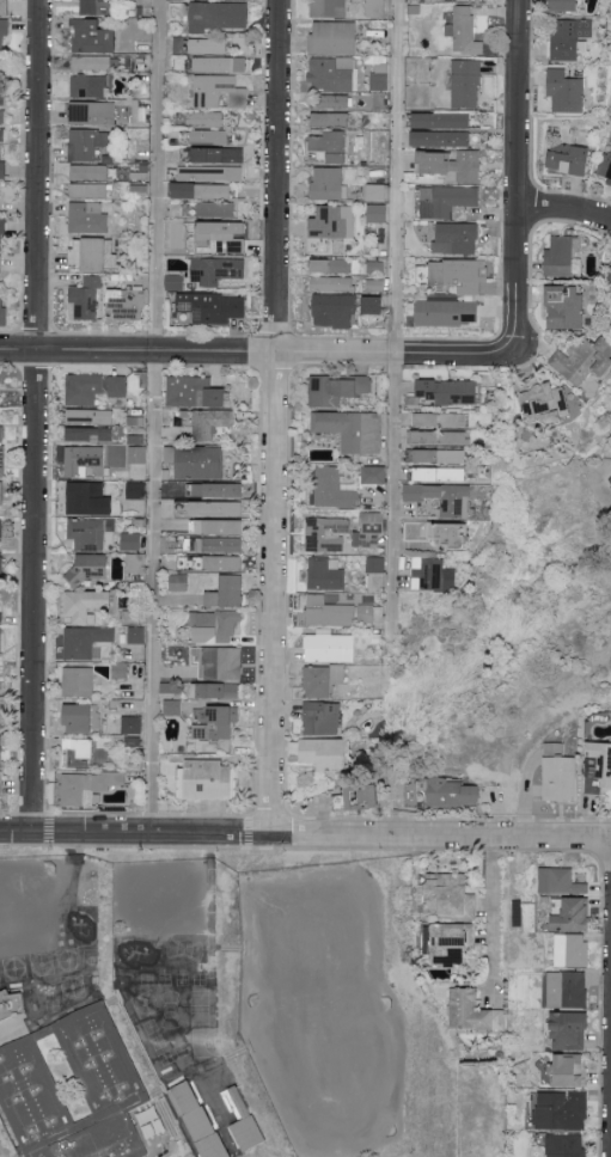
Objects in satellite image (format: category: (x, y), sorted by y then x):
building: (564, 5)
building: (2, 7)
building: (93, 7)
building: (328, 7)
building: (375, 8)
building: (212, 16)
building: (462, 27)
building: (4, 31)
building: (92, 37)
building: (334, 37)
building: (570, 37)
building: (206, 45)
building: (91, 62)
building: (218, 65)
building: (379, 81)
building: (466, 82)
building: (88, 86)
building: (218, 91)
building: (566, 91)
building: (329, 102)
building: (93, 114)
building: (204, 118)
building: (329, 118)
building: (441, 129)
building: (1, 134)
building: (208, 136)
building: (379, 139)
building: (88, 142)
building: (330, 145)
building: (219, 154)
building: (569, 159)
building: (454, 165)
building: (605, 167)
building: (2, 170)
building: (87, 172)
building: (210, 173)
road: (519, 176)
building: (326, 183)
building: (87, 190)
building: (201, 191)
building: (375, 191)
building: (446, 200)
building: (0, 209)
building: (215, 209)
road: (566, 212)
building: (377, 213)
building: (87, 218)
building: (332, 222)
building: (1, 234)
building: (220, 237)
building: (456, 238)
building: (77, 253)
building: (562, 256)
building: (0, 264)
building: (330, 265)
building: (216, 270)
building: (459, 274)
building: (610, 278)
building: (330, 283)
building: (84, 299)
building: (126, 304)
building: (374, 305)
building: (566, 306)
building: (212, 307)
building: (334, 310)
building: (2, 312)
building: (447, 313)
road: (396, 314)
road: (259, 350)
building: (583, 360)
building: (117, 386)
building: (81, 390)
building: (338, 391)
building: (450, 391)
building: (195, 392)
building: (545, 399)
building: (0, 415)
road: (37, 416)
building: (90, 416)
road: (158, 417)
road: (279, 417)
building: (439, 420)
building: (207, 422)
building: (352, 429)
building: (1, 434)
building: (90, 434)
building: (439, 437)
building: (136, 448)
building: (440, 455)
building: (83, 459)
building: (2, 460)
building: (196, 461)
building: (439, 473)
building: (374, 475)
building: (610, 480)
building: (216, 489)
building: (335, 489)
building: (136, 490)
building: (1, 496)
building: (442, 497)
building: (88, 498)
building: (208, 507)
building: (215, 526)
building: (369, 528)
building: (1, 531)
building: (438, 532)
building: (87, 533)
building: (325, 533)
building: (130, 540)
building: (166, 544)
building: (218, 544)
building: (222, 563)
building: (375, 564)
building: (88, 567)
building: (1, 570)
building: (325, 574)
building: (432, 575)
building: (178, 582)
building: (226, 592)
building: (0, 602)
building: (86, 604)
building: (328, 612)
building: (366, 613)
building: (214, 625)
building: (135, 635)
building: (85, 641)
building: (1, 642)
building: (330, 647)
building: (219, 662)
building: (120, 669)
building: (322, 680)
building: (78, 681)
building: (219, 691)
building: (172, 708)
building: (79, 718)
building: (323, 718)
building: (132, 724)
building: (216, 724)
building: (0, 752)
building: (79, 753)
building: (324, 753)
building: (598, 766)
building: (558, 773)
building: (208, 780)
building: (0, 784)
building: (81, 788)
building: (452, 792)
building: (360, 797)
road: (139, 833)
road: (444, 837)
building: (561, 880)
road: (69, 890)
building: (452, 894)
road: (493, 912)
building: (574, 913)
building: (452, 943)
building: (572, 949)
building: (568, 988)
building: (12, 1003)
building: (473, 1010)
building: (572, 1029)
building: (572, 1069)
building: (75, 1088)
building: (562, 1109)
building: (201, 1120)
building: (152, 1121)
building: (251, 1132)
building: (566, 1145)

